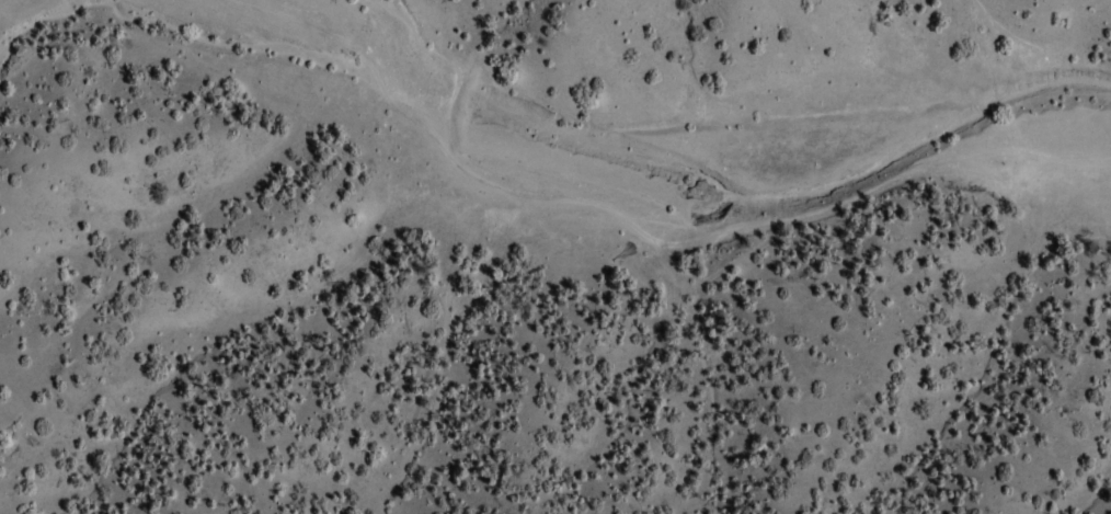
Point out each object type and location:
dam: (462, 108)
road: (654, 254)

